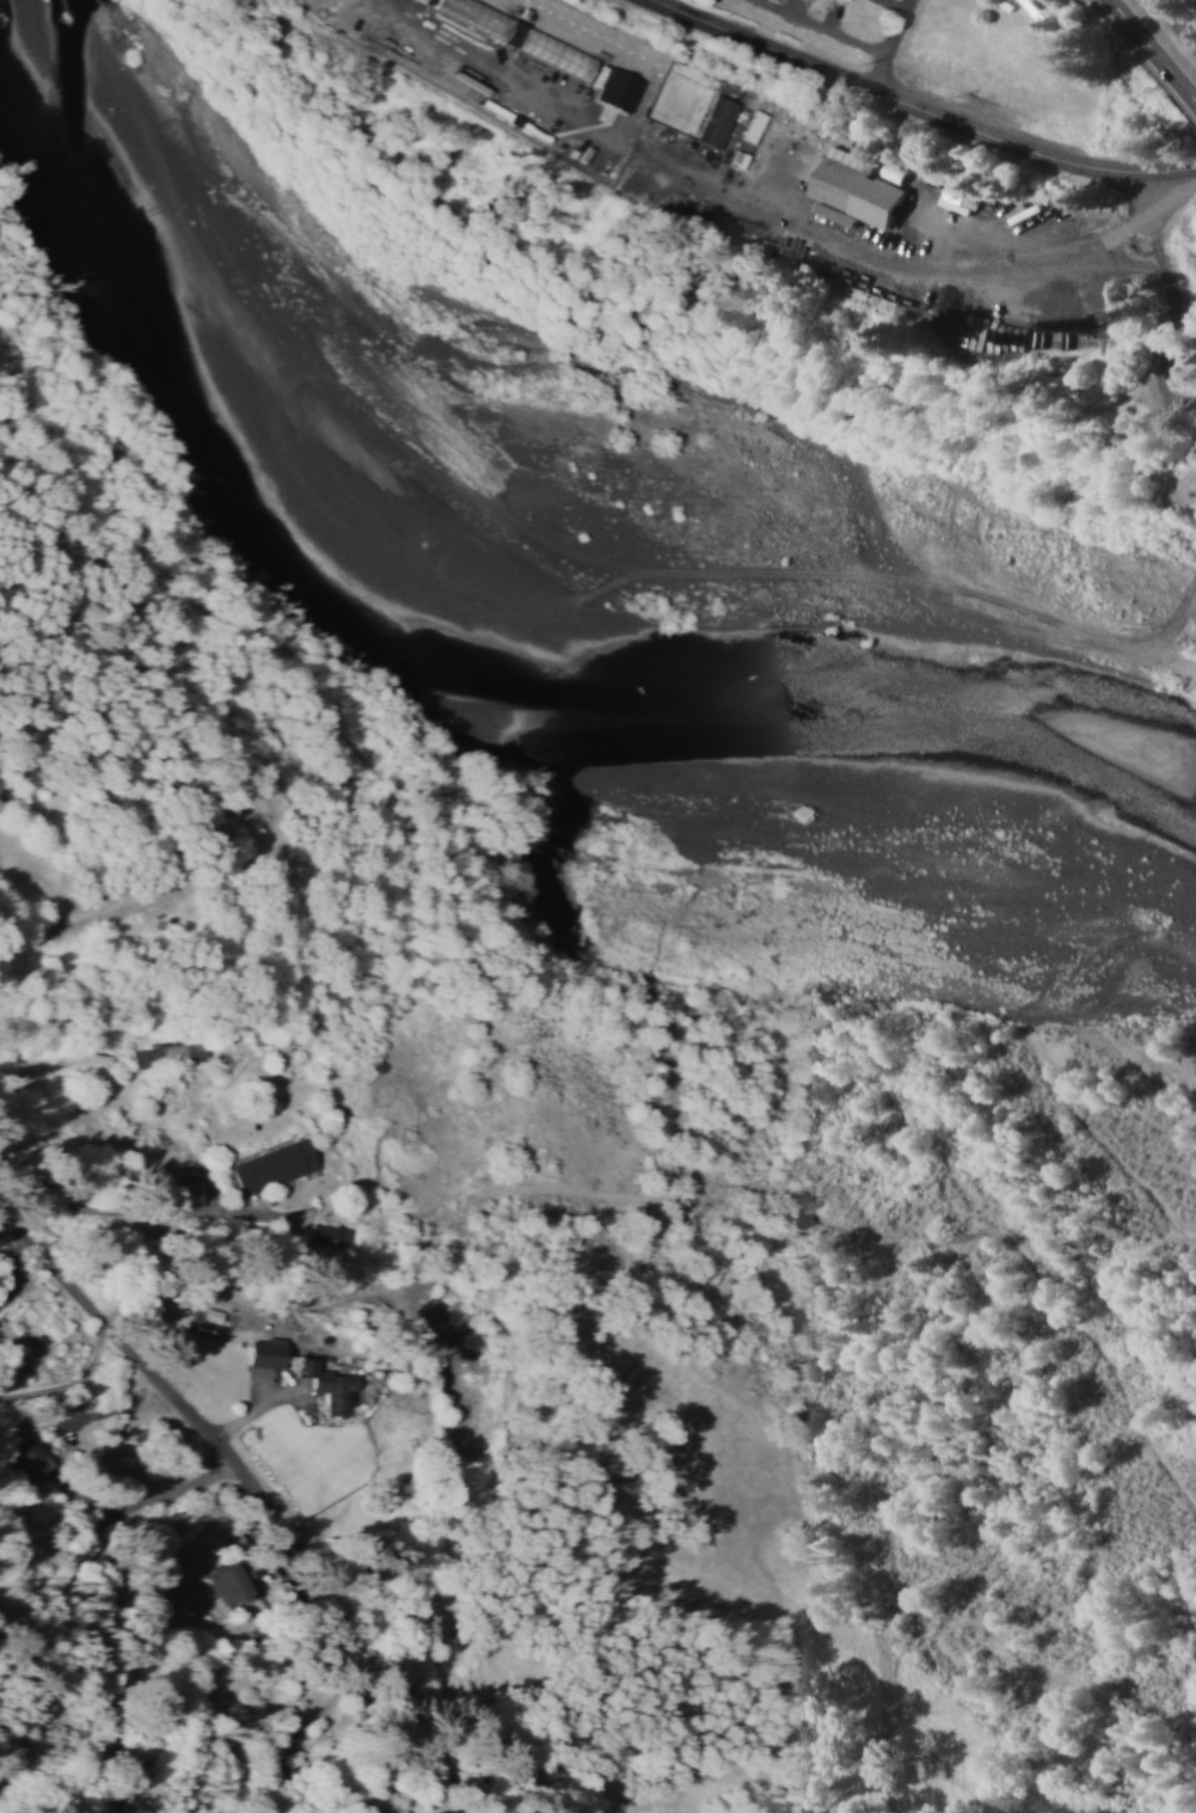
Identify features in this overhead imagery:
building: (845, 0)
road: (1177, 22)
building: (515, 35)
road: (1153, 50)
building: (615, 90)
road: (916, 110)
building: (712, 122)
railway: (852, 155)
building: (852, 186)
building: (833, 214)
river: (421, 416)
river: (1066, 759)
building: (167, 1055)
building: (268, 1165)
road: (33, 1307)
building: (203, 1317)
building: (262, 1352)
building: (324, 1385)
road: (269, 1503)
building: (237, 1581)
road: (503, 1803)
building: (444, 1812)

